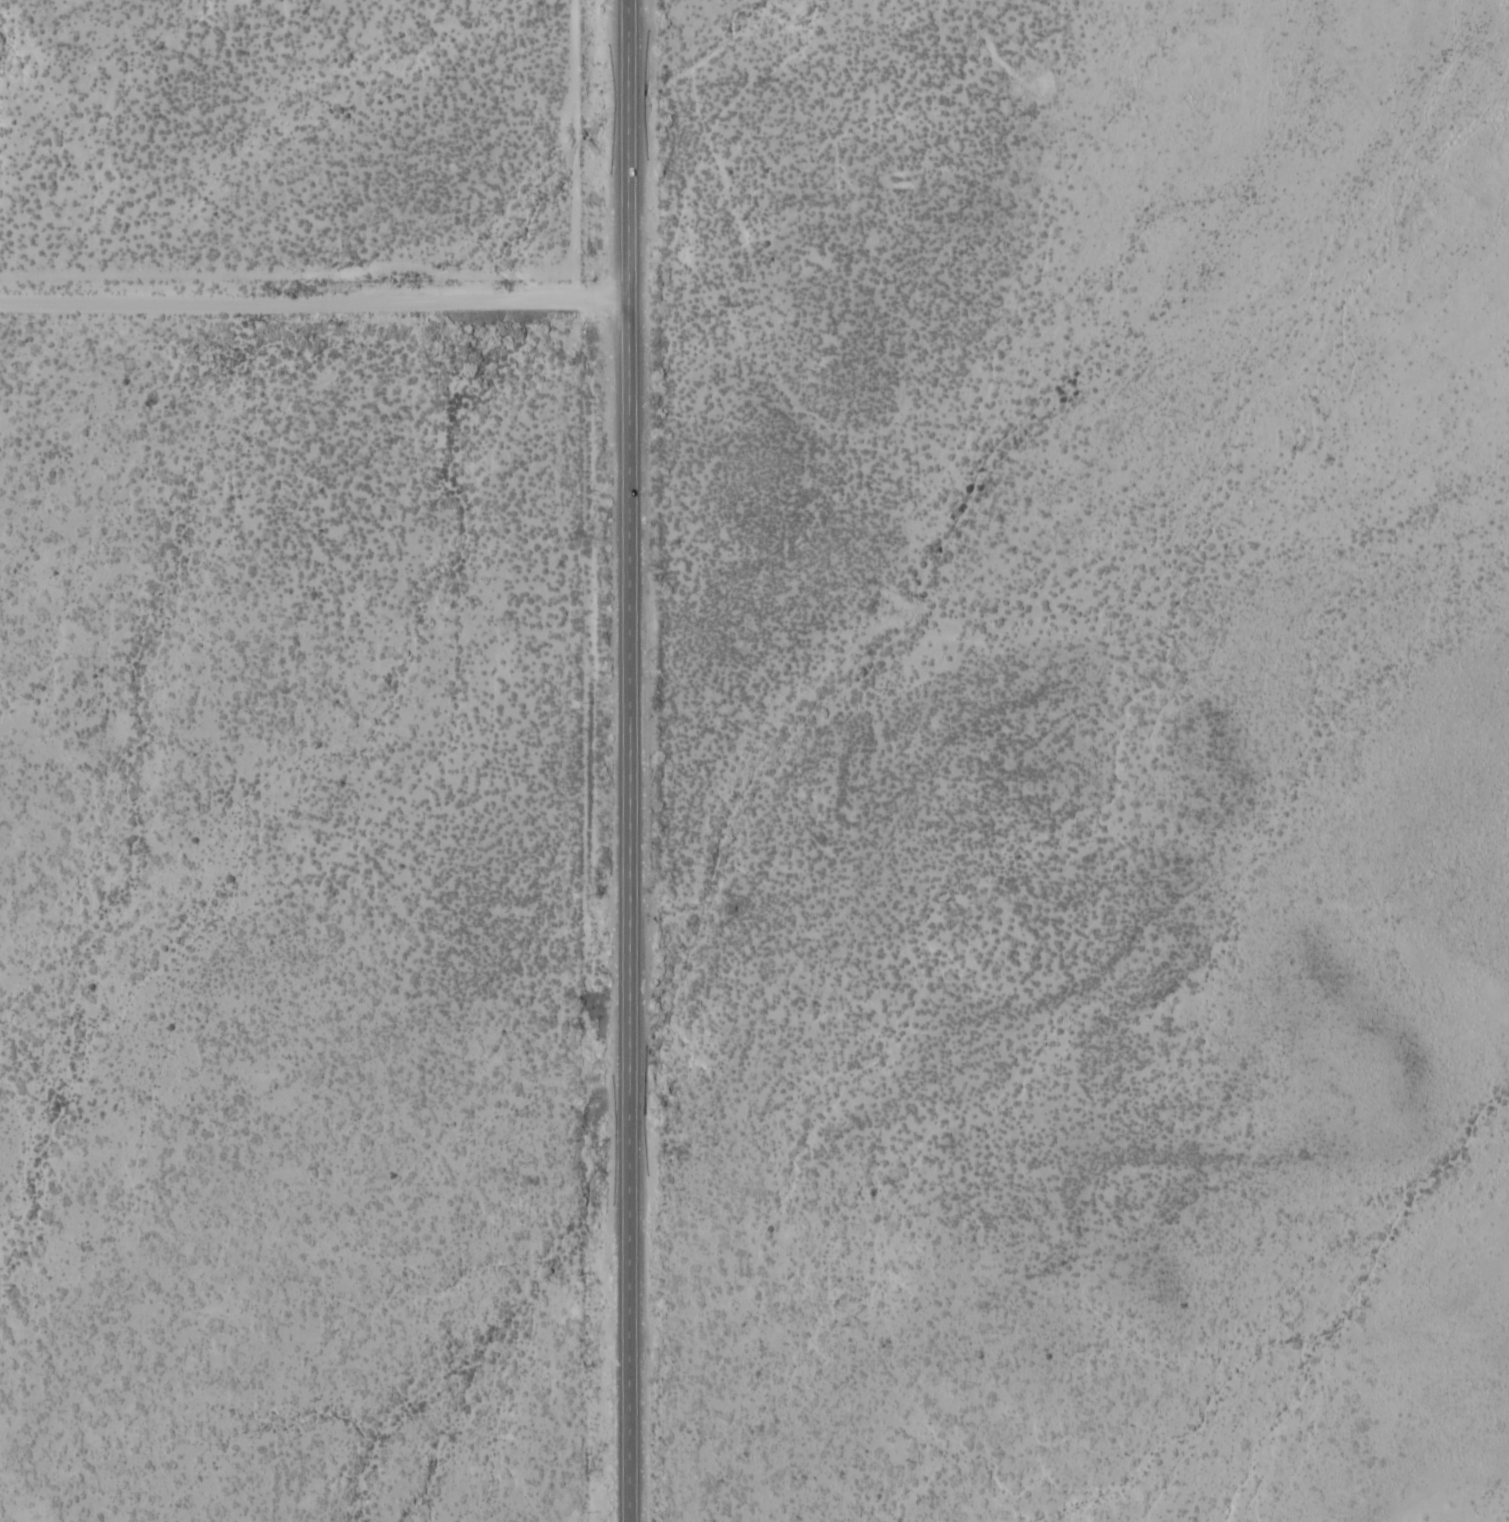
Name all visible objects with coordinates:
road: (419, 268)
road: (312, 304)
road: (624, 760)

